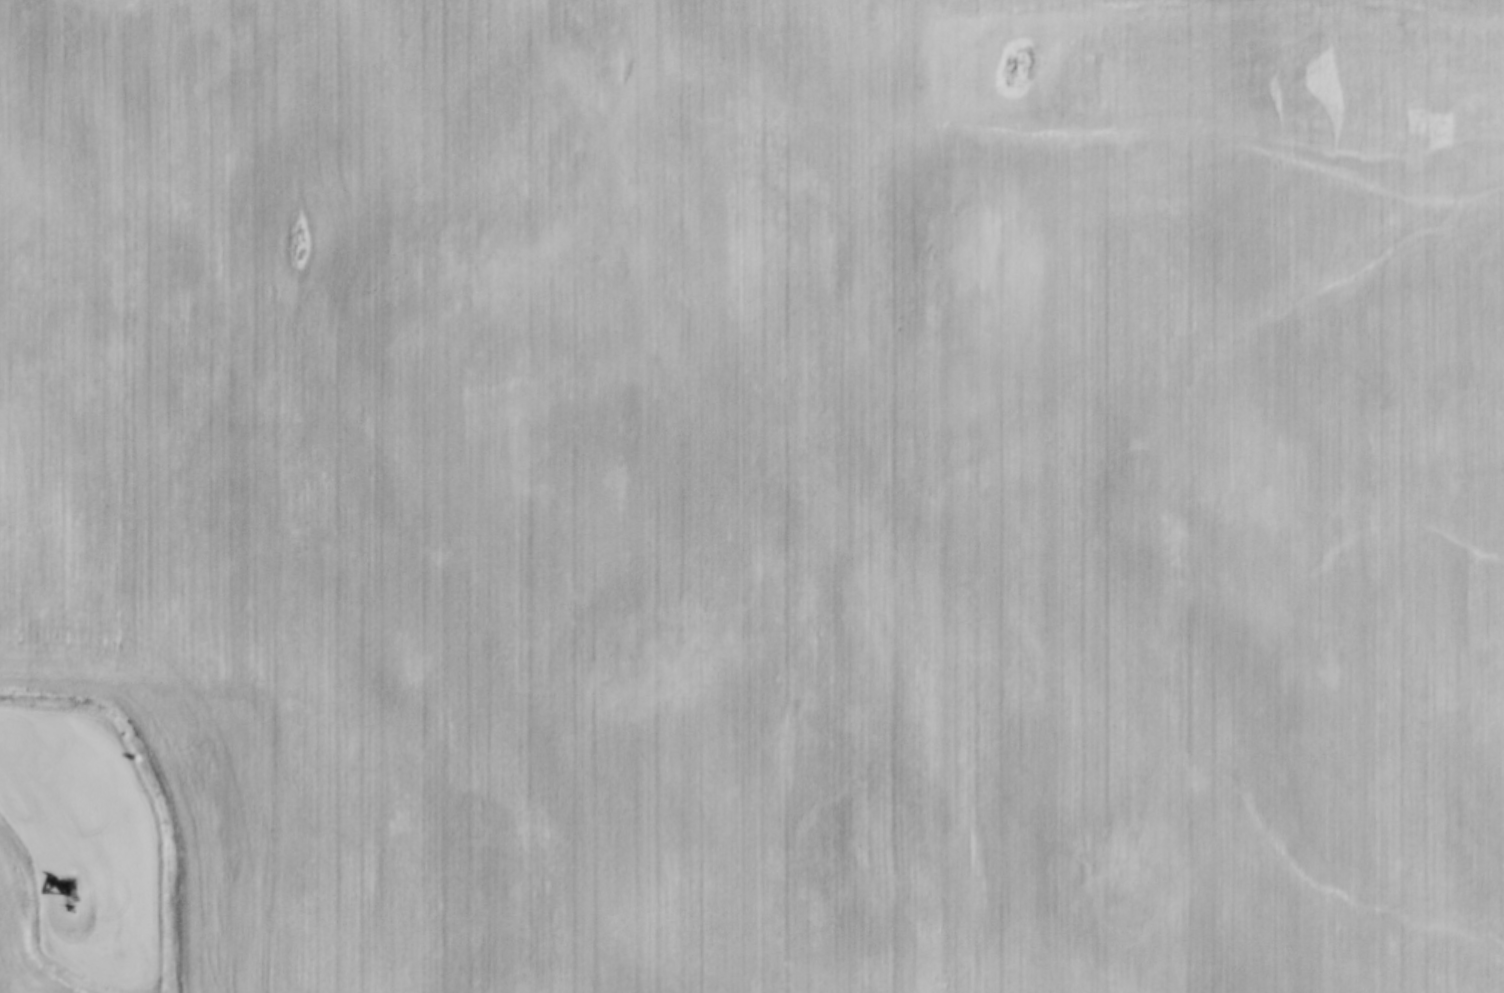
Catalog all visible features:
road: (1134, 123)
petroleum well: (60, 895)

